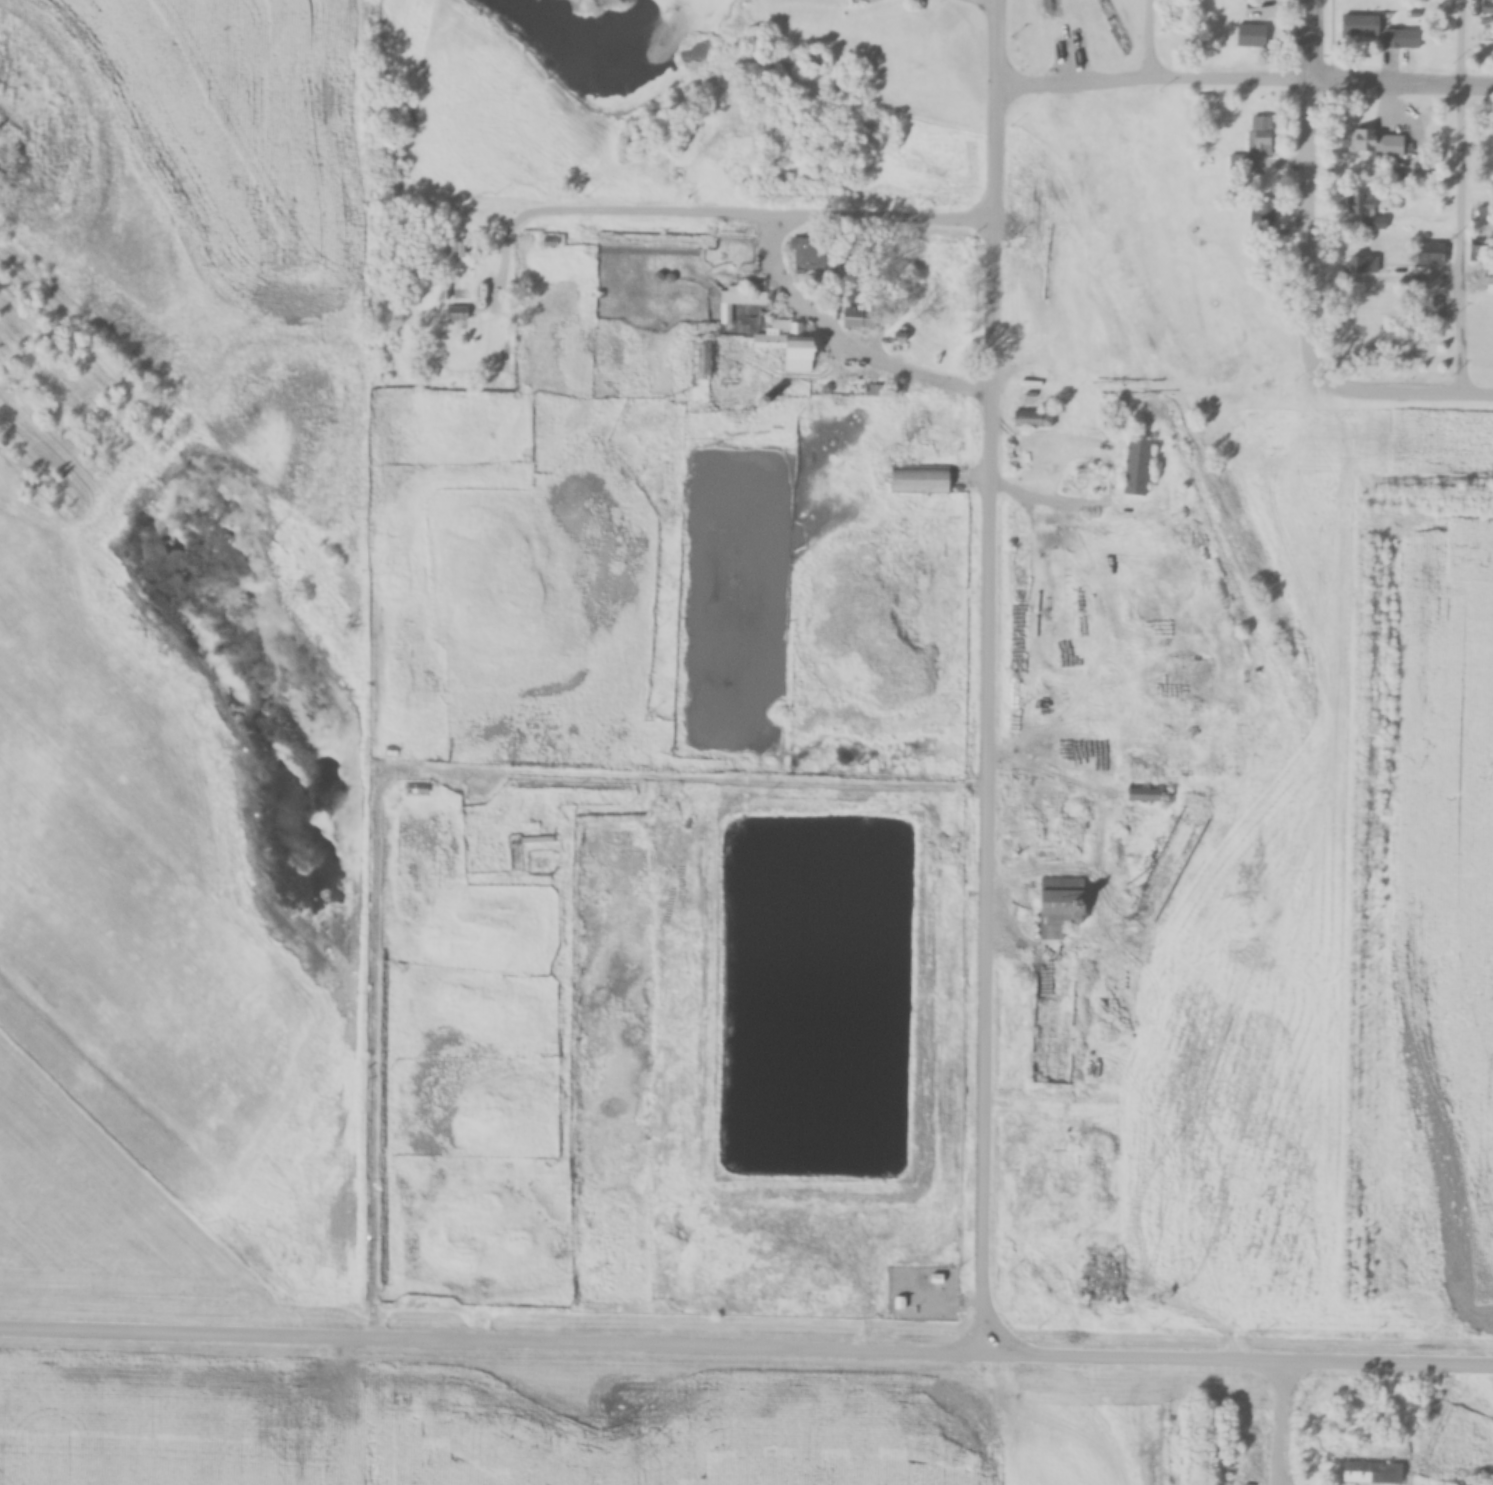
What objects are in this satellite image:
building: (1361, 26)
building: (1402, 39)
road: (1147, 41)
road: (1244, 80)
building: (1261, 135)
building: (1365, 141)
building: (736, 153)
building: (1238, 162)
road: (1308, 194)
road: (1458, 196)
building: (1361, 209)
building: (1485, 213)
road: (756, 215)
building: (1262, 219)
building: (458, 252)
building: (1430, 254)
building: (821, 263)
building: (1364, 265)
building: (740, 300)
building: (459, 313)
building: (860, 317)
building: (792, 345)
road: (1401, 392)
building: (1033, 419)
building: (1138, 466)
building: (934, 480)
road: (1110, 490)
airport: (186, 587)
road: (992, 675)
road: (739, 789)
building: (1146, 795)
building: (538, 840)
building: (1062, 906)
airport runway: (97, 911)
building: (936, 1279)
building: (898, 1303)
road: (746, 1340)
building: (1373, 1472)

